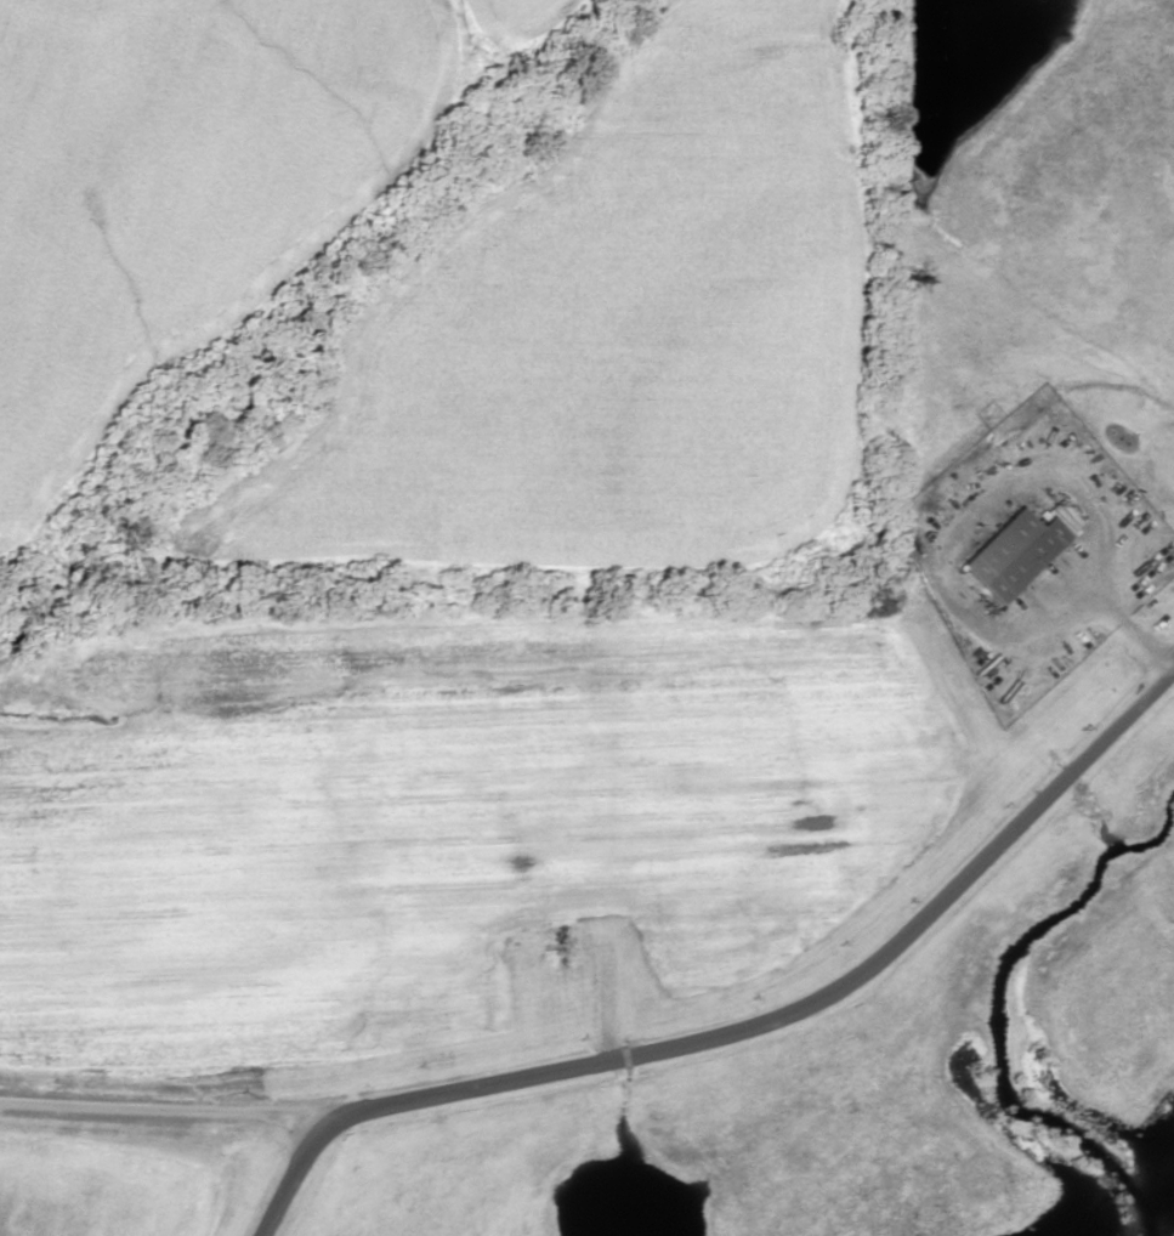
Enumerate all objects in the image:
building: (1011, 554)
road: (617, 822)
road: (643, 1008)
road: (280, 1170)

